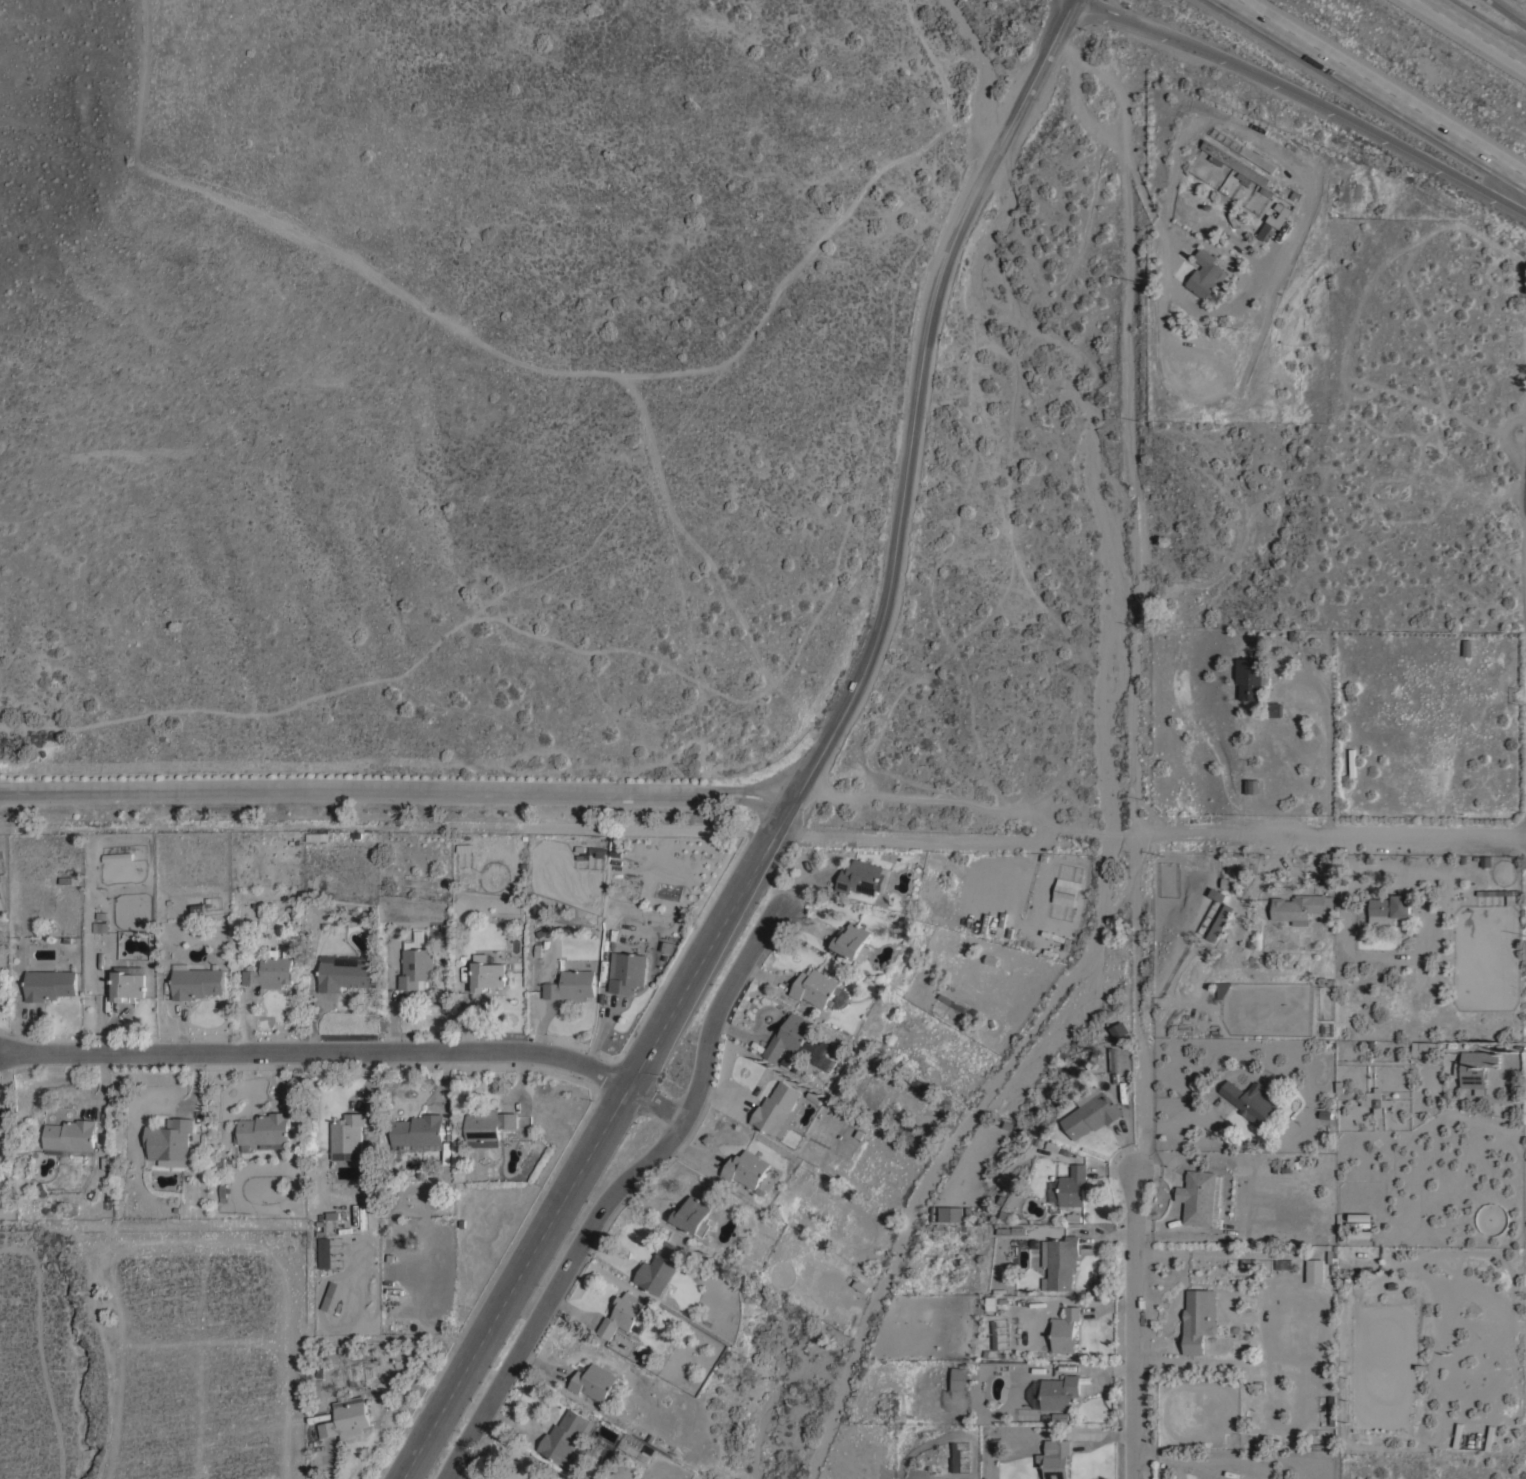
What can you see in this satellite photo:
road: (1513, 9)
road: (1480, 28)
road: (1388, 86)
road: (1316, 92)
road: (1131, 127)
building: (1256, 158)
building: (1235, 165)
building: (1281, 214)
building: (1205, 273)
road: (1139, 498)
building: (1467, 646)
building: (1251, 678)
building: (1274, 708)
road: (811, 766)
road: (1328, 767)
building: (1252, 785)
road: (394, 792)
road: (925, 797)
road: (959, 830)
building: (317, 835)
road: (1334, 836)
building: (597, 850)
building: (116, 857)
building: (1485, 860)
building: (864, 877)
building: (1066, 891)
building: (1217, 893)
building: (1513, 899)
building: (1300, 906)
building: (1389, 907)
building: (1220, 921)
building: (100, 925)
building: (1052, 934)
building: (852, 940)
building: (417, 962)
building: (271, 971)
building: (344, 971)
building: (627, 971)
building: (486, 972)
building: (1, 981)
building: (196, 982)
building: (50, 983)
building: (128, 985)
building: (572, 985)
building: (815, 987)
building: (1222, 987)
building: (951, 1001)
building: (1120, 1029)
building: (788, 1035)
building: (1424, 1045)
road: (318, 1052)
building: (823, 1054)
building: (1119, 1058)
building: (1475, 1068)
building: (917, 1082)
building: (815, 1095)
building: (1251, 1100)
building: (1377, 1100)
road: (658, 1104)
building: (776, 1107)
building: (1091, 1112)
building: (487, 1126)
building: (264, 1128)
building: (2, 1130)
building: (417, 1131)
building: (71, 1134)
building: (348, 1136)
building: (366, 1137)
building: (170, 1141)
road: (1137, 1155)
building: (410, 1163)
building: (429, 1164)
building: (747, 1168)
building: (1073, 1185)
building: (223, 1191)
road: (617, 1192)
building: (1197, 1196)
building: (1215, 1204)
building: (950, 1213)
building: (693, 1215)
building: (1360, 1216)
building: (321, 1227)
building: (1360, 1233)
building: (1362, 1247)
building: (325, 1251)
building: (1060, 1261)
building: (659, 1267)
building: (1314, 1269)
building: (329, 1294)
building: (992, 1302)
building: (396, 1305)
building: (622, 1313)
building: (1198, 1318)
building: (1066, 1329)
building: (959, 1378)
building: (594, 1381)
building: (1059, 1391)
building: (1332, 1409)
building: (1060, 1416)
building: (347, 1417)
building: (564, 1435)
building: (1236, 1440)
building: (633, 1449)
building: (956, 1457)
building: (1057, 1459)
road: (329, 1463)
building: (526, 1477)
building: (532, 1478)

